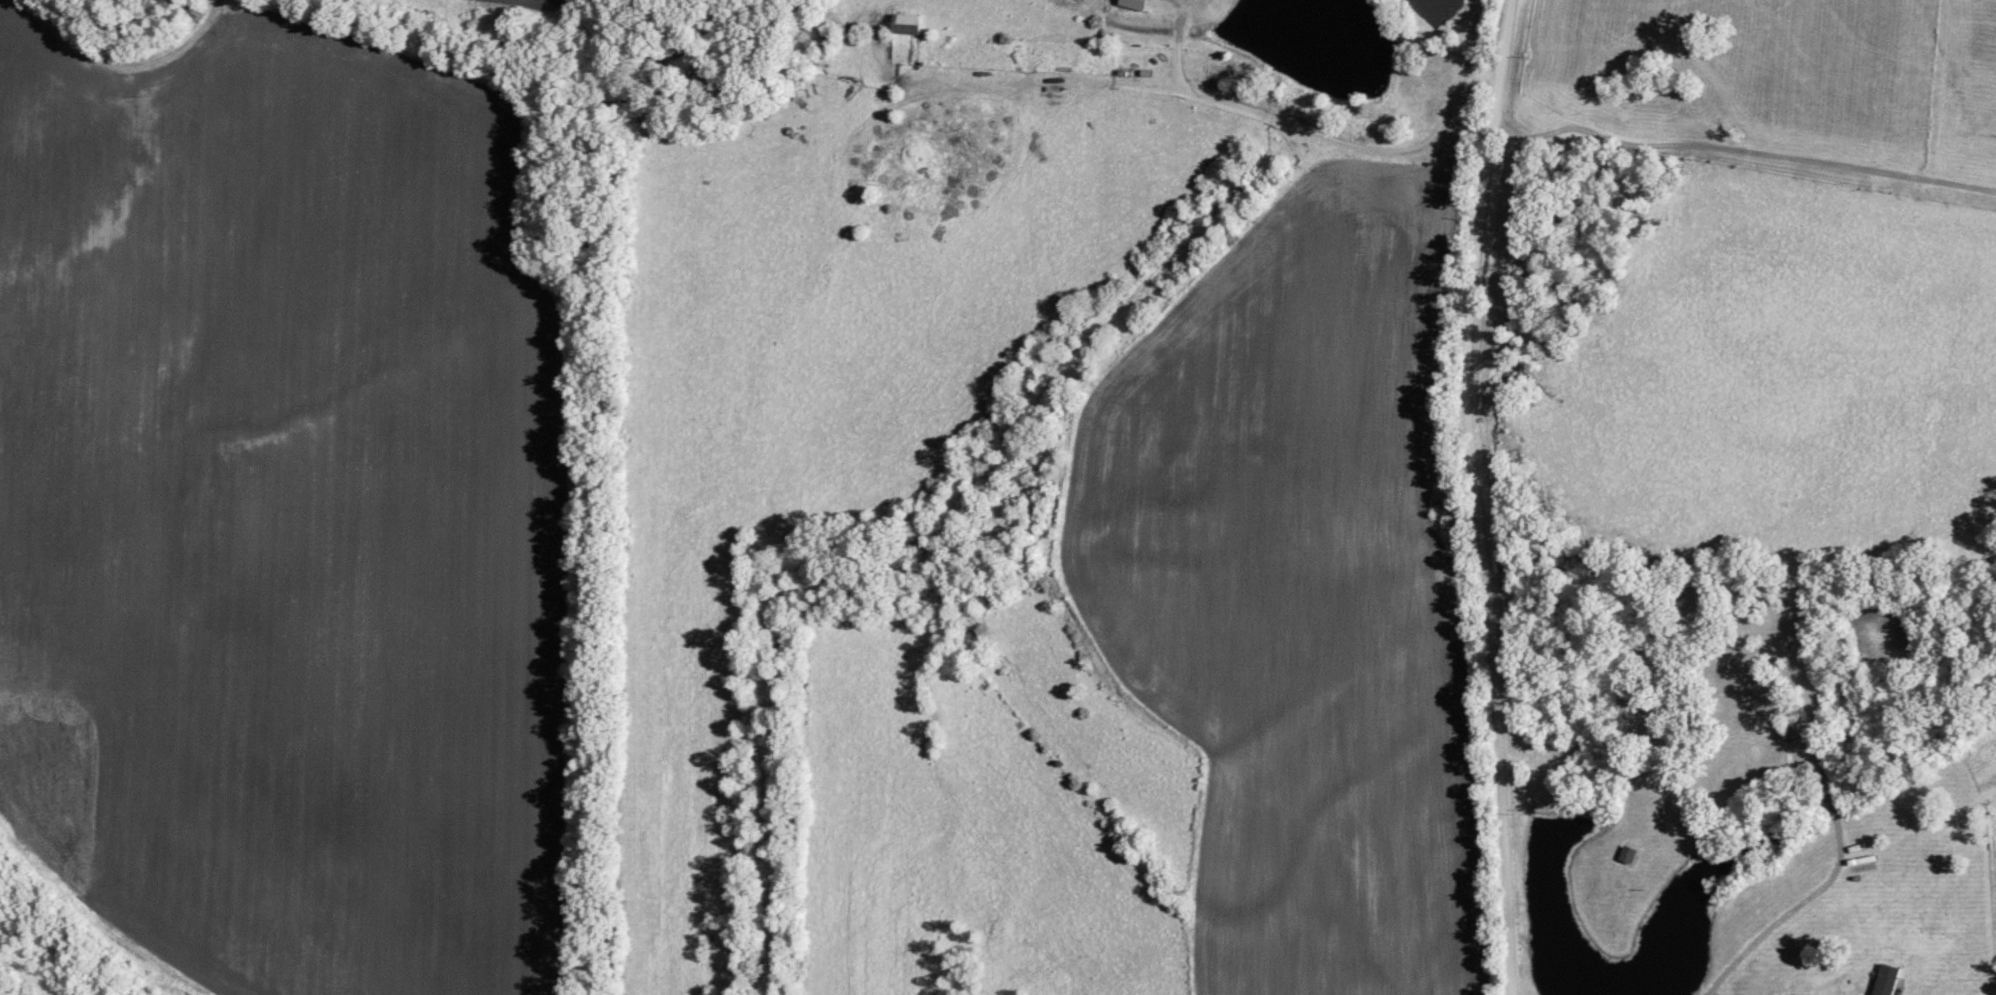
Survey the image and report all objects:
building: (1138, 4)
building: (909, 24)
road: (1744, 152)
road: (1475, 496)
building: (1889, 979)

